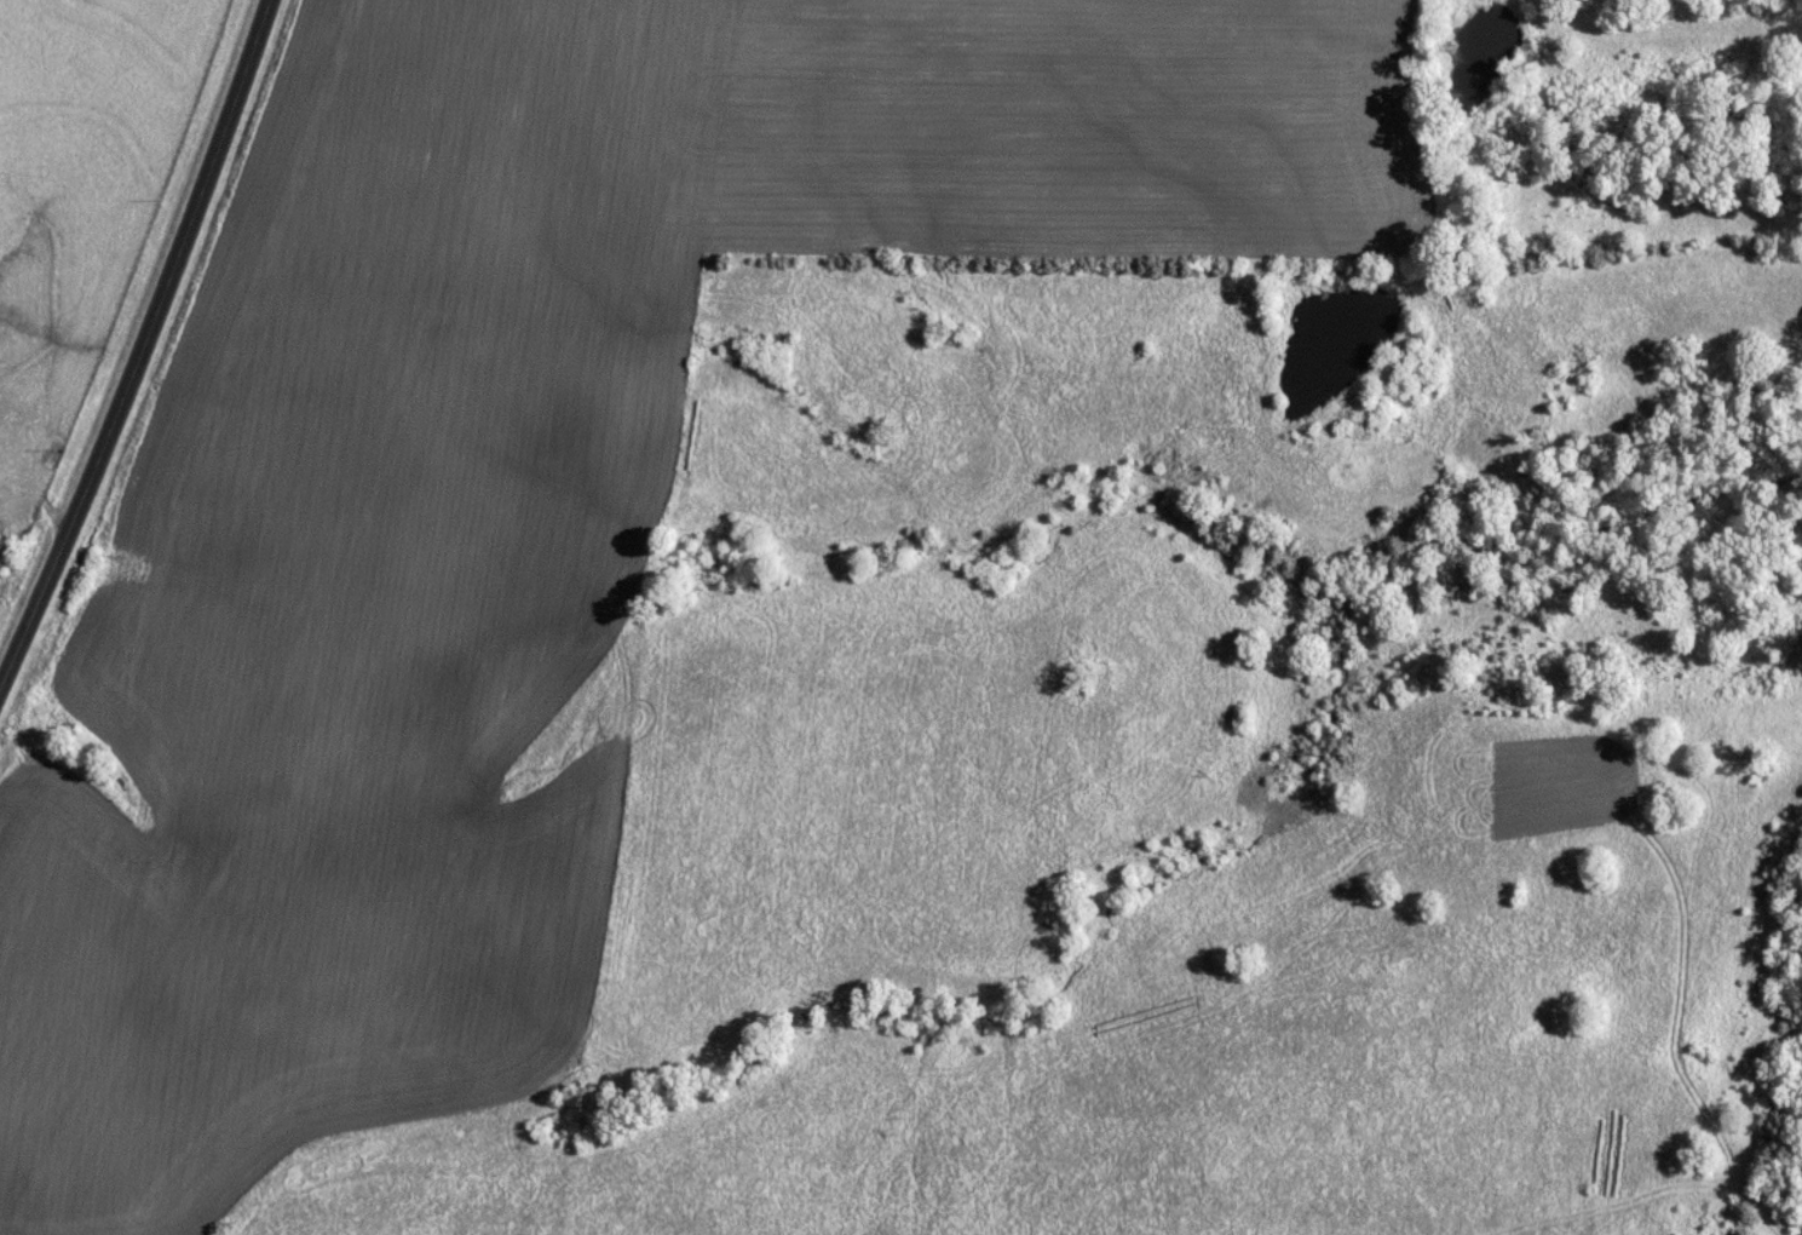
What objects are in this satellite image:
road: (143, 344)

